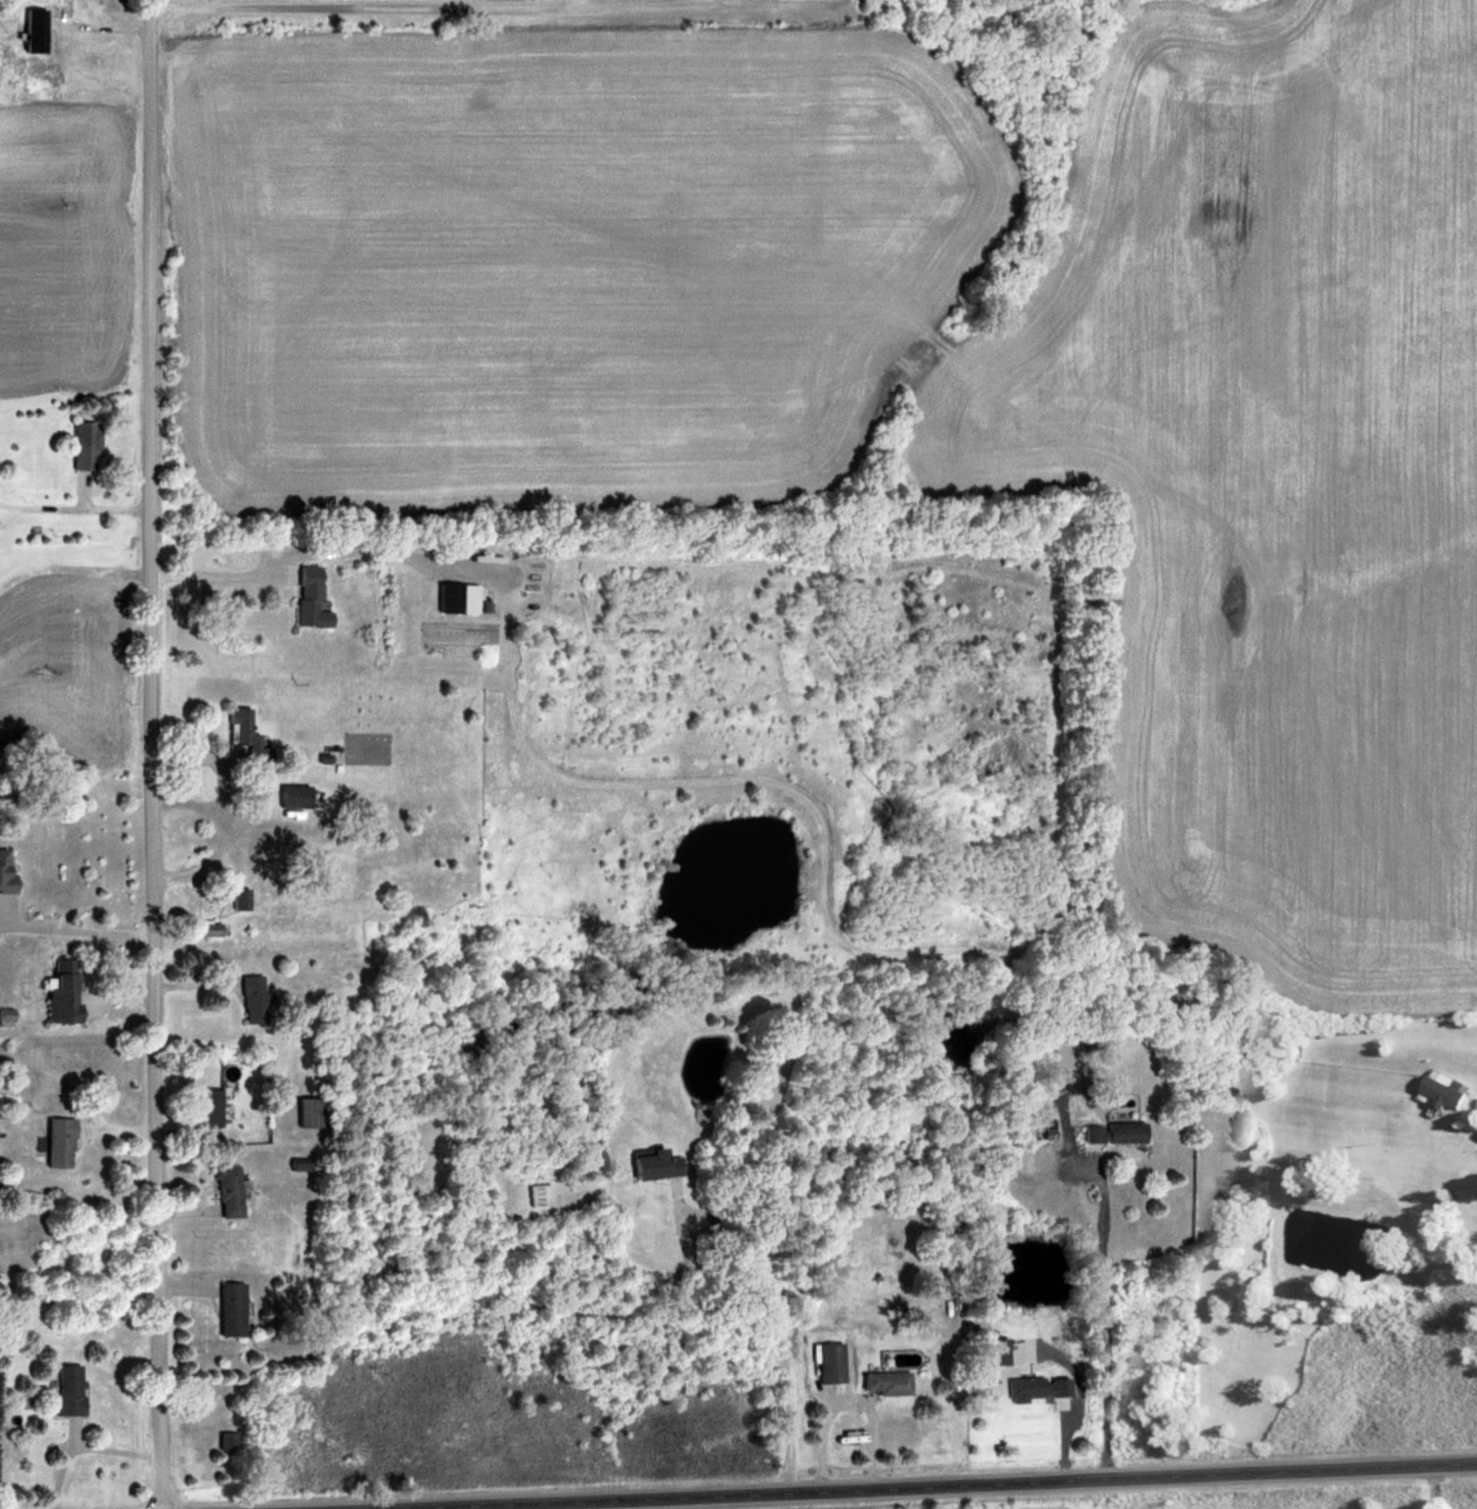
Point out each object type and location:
road: (706, 3)
road: (772, 4)
road: (426, 9)
building: (33, 31)
building: (84, 445)
road: (76, 512)
building: (310, 598)
building: (456, 598)
building: (245, 737)
road: (154, 754)
building: (292, 796)
building: (5, 874)
road: (80, 931)
building: (61, 992)
building: (252, 998)
building: (1444, 1089)
building: (207, 1109)
building: (305, 1112)
building: (1111, 1132)
building: (57, 1142)
building: (297, 1163)
building: (652, 1163)
building: (227, 1191)
building: (228, 1308)
road: (768, 1312)
road: (1102, 1319)
building: (6, 1345)
building: (995, 1351)
building: (828, 1362)
building: (882, 1382)
building: (1034, 1388)
building: (66, 1390)
road: (52, 1417)
road: (101, 1449)
road: (59, 1476)
road: (921, 1483)
road: (1430, 1485)

